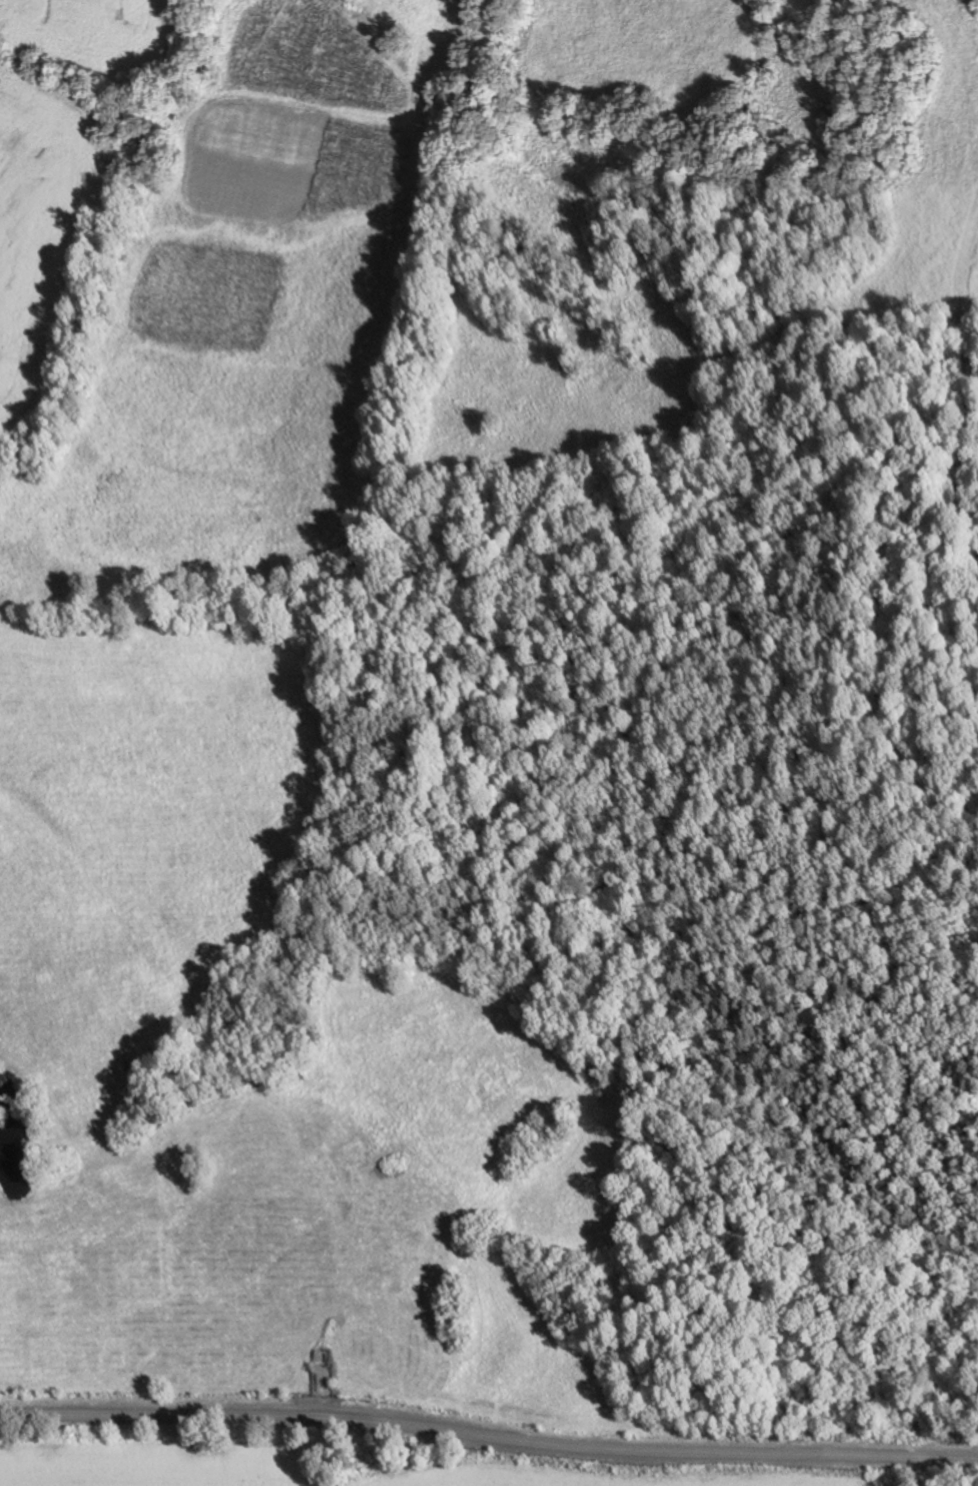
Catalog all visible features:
road: (488, 1432)

